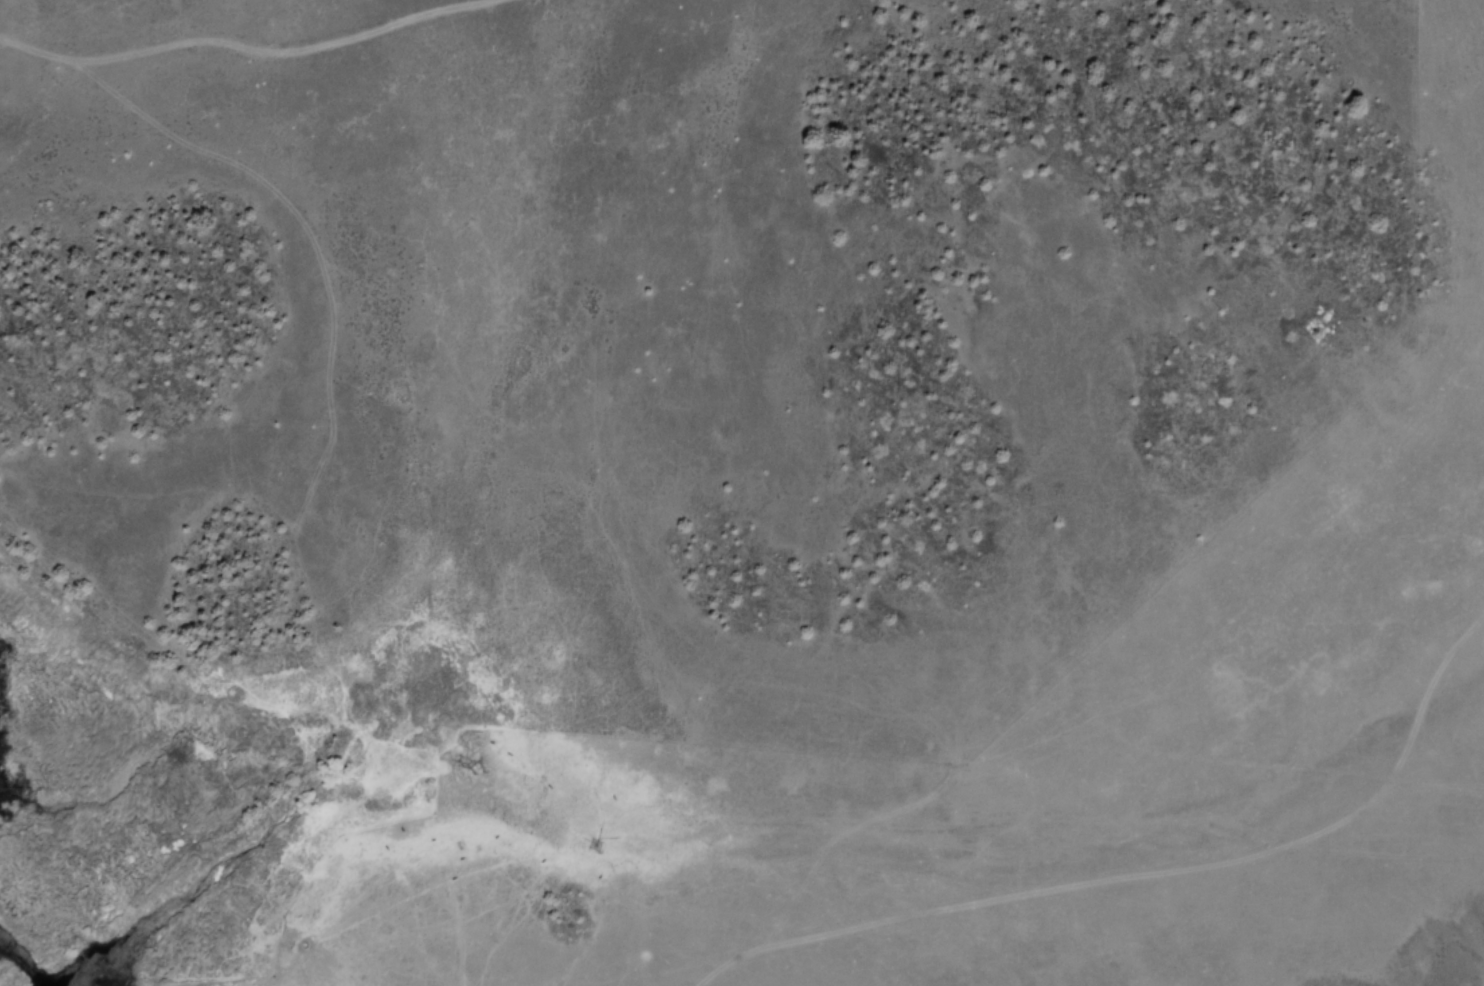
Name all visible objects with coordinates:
road: (277, 49)
road: (473, 420)
road: (816, 861)
road: (1177, 861)

